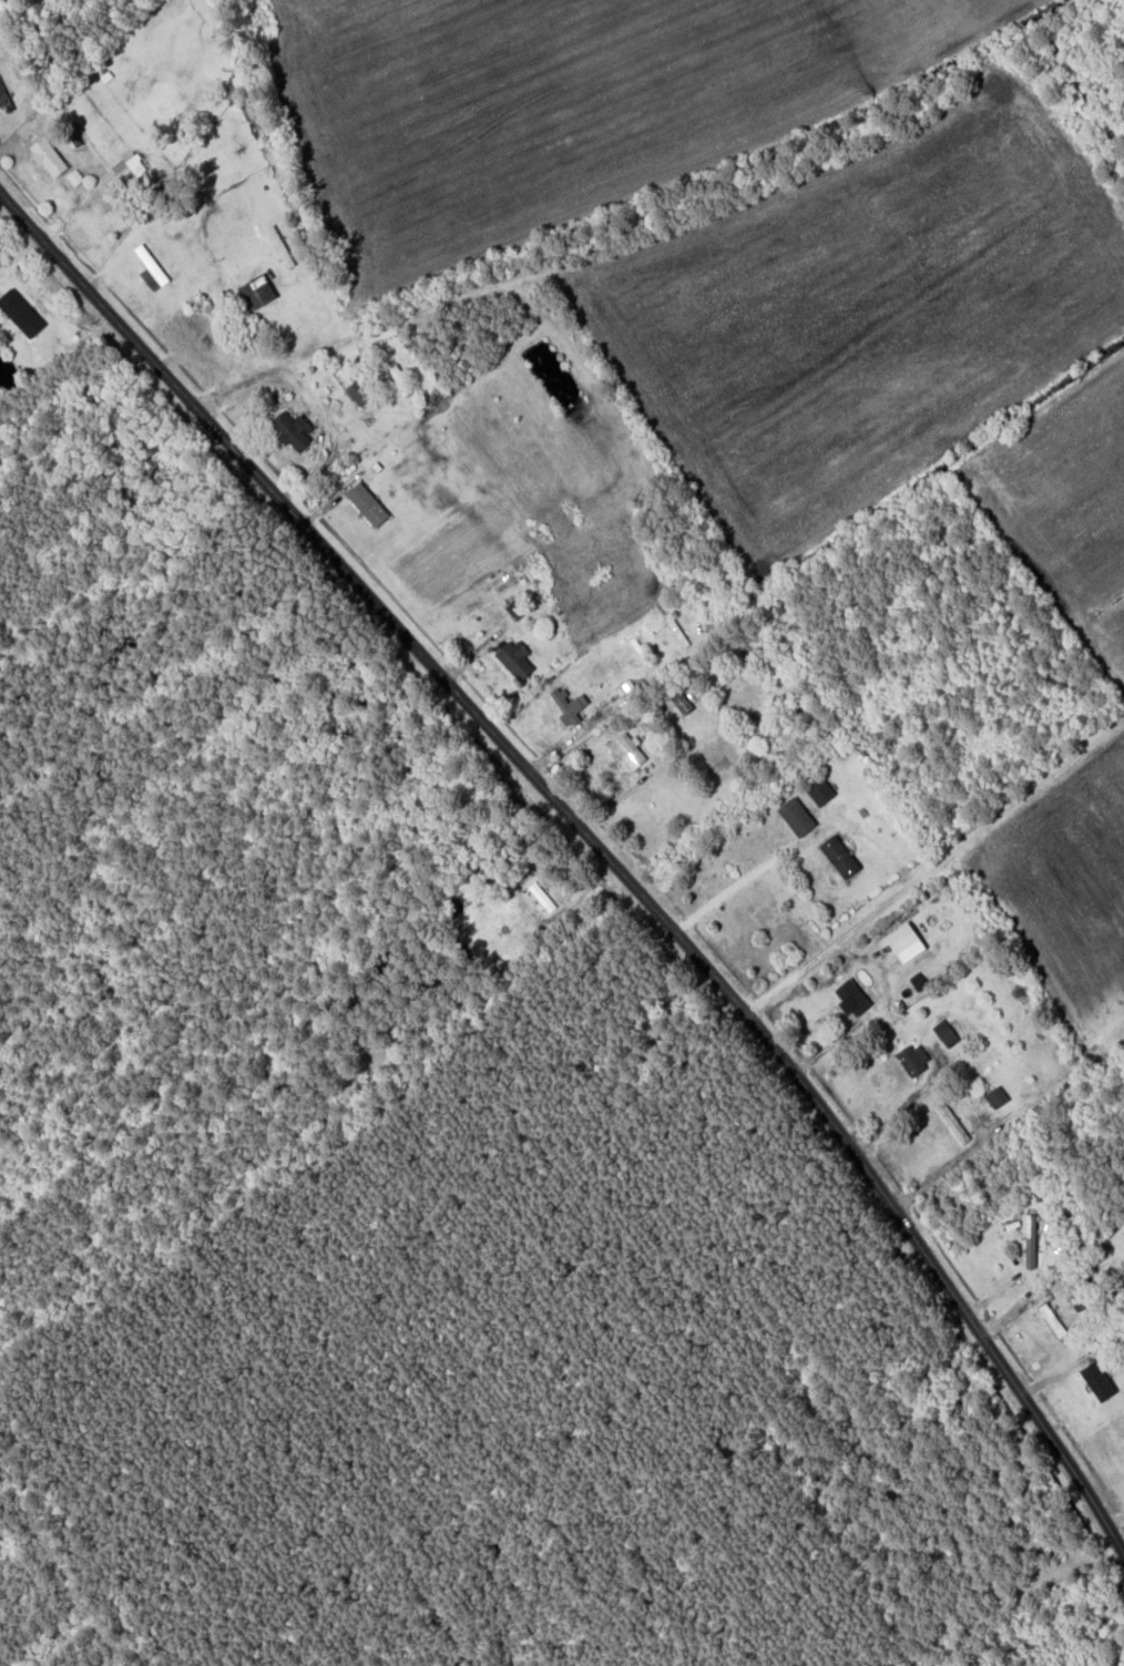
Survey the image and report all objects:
building: (49, 159)
building: (124, 175)
road: (616, 200)
road: (58, 224)
building: (152, 270)
building: (258, 294)
building: (204, 325)
building: (391, 377)
building: (362, 392)
road: (315, 421)
building: (295, 433)
building: (367, 507)
building: (517, 611)
road: (478, 656)
building: (515, 661)
building: (682, 705)
building: (616, 764)
road: (637, 785)
building: (821, 794)
building: (797, 819)
road: (600, 842)
road: (798, 845)
building: (840, 859)
road: (939, 868)
building: (542, 900)
road: (796, 911)
building: (950, 1039)
building: (913, 1063)
building: (998, 1100)
road: (892, 1117)
road: (1010, 1122)
building: (953, 1125)
building: (972, 1192)
building: (1020, 1243)
road: (1001, 1319)
building: (1053, 1323)
road: (1050, 1376)
building: (1099, 1384)
road: (1118, 1526)

